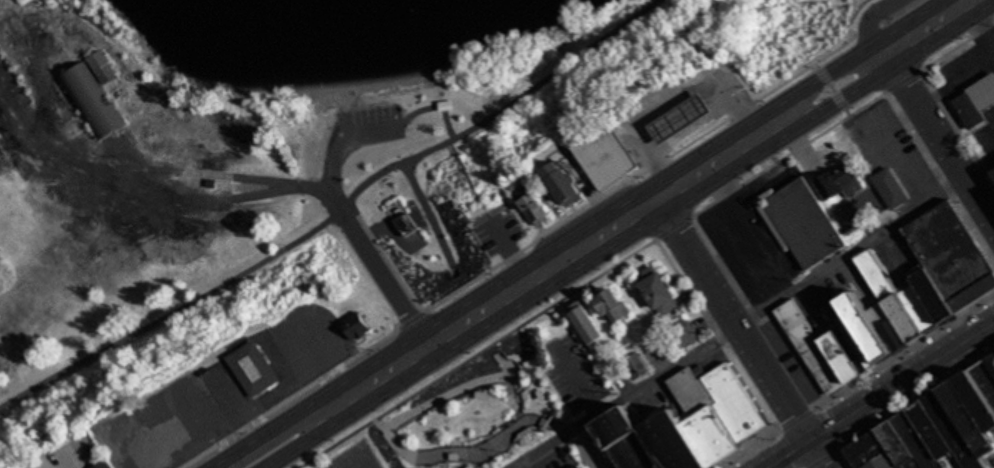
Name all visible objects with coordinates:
road: (953, 9)
road: (873, 15)
road: (980, 22)
road: (861, 32)
park: (727, 33)
road: (992, 38)
road: (842, 61)
parking lot: (969, 65)
building: (103, 66)
road: (858, 87)
road: (832, 88)
road: (674, 98)
building: (93, 99)
building: (977, 103)
building: (447, 105)
road: (431, 108)
building: (681, 119)
parking lot: (370, 124)
road: (956, 130)
parking lot: (986, 132)
road: (934, 133)
road: (340, 137)
road: (449, 141)
park: (436, 144)
parking lot: (889, 155)
building: (609, 158)
road: (895, 159)
building: (993, 173)
road: (939, 177)
building: (839, 182)
road: (718, 183)
building: (566, 184)
building: (891, 188)
building: (538, 208)
road: (488, 210)
road: (337, 214)
road: (428, 218)
road: (731, 220)
building: (803, 224)
building: (407, 225)
parking lot: (500, 227)
road: (354, 229)
parking lot: (753, 233)
road: (534, 240)
road: (645, 245)
road: (512, 252)
parking lot: (913, 253)
building: (955, 257)
road: (388, 259)
parking lot: (898, 265)
road: (551, 266)
parking lot: (870, 281)
parking lot: (850, 283)
building: (659, 291)
building: (940, 294)
building: (896, 295)
parking lot: (836, 299)
building: (614, 305)
building: (925, 306)
parking lot: (820, 313)
park: (155, 317)
road: (755, 319)
building: (897, 323)
building: (877, 325)
building: (359, 327)
building: (589, 328)
road: (718, 333)
road: (742, 333)
building: (688, 335)
road: (770, 341)
building: (862, 341)
building: (812, 349)
building: (847, 356)
road: (321, 357)
parking lot: (283, 360)
parking lot: (715, 364)
parking lot: (793, 364)
building: (993, 365)
building: (636, 366)
building: (256, 370)
building: (701, 372)
building: (989, 376)
parking lot: (575, 377)
road: (501, 378)
road: (579, 380)
road: (861, 382)
road: (453, 392)
road: (881, 394)
building: (983, 394)
park: (499, 400)
road: (242, 401)
road: (512, 401)
road: (173, 402)
building: (740, 402)
parking lot: (664, 405)
road: (900, 409)
building: (712, 416)
building: (975, 416)
road: (520, 417)
parking lot: (164, 425)
road: (277, 427)
building: (962, 432)
building: (941, 437)
road: (302, 439)
building: (638, 439)
building: (690, 443)
building: (163, 444)
building: (900, 448)
road: (792, 449)
road: (193, 450)
road: (586, 450)
road: (471, 452)
parking lot: (72, 454)
road: (349, 456)
parking lot: (352, 458)
road: (478, 458)
parking lot: (556, 458)
parking lot: (992, 458)
road: (77, 460)
building: (101, 465)
road: (65, 467)
building: (580, 467)

